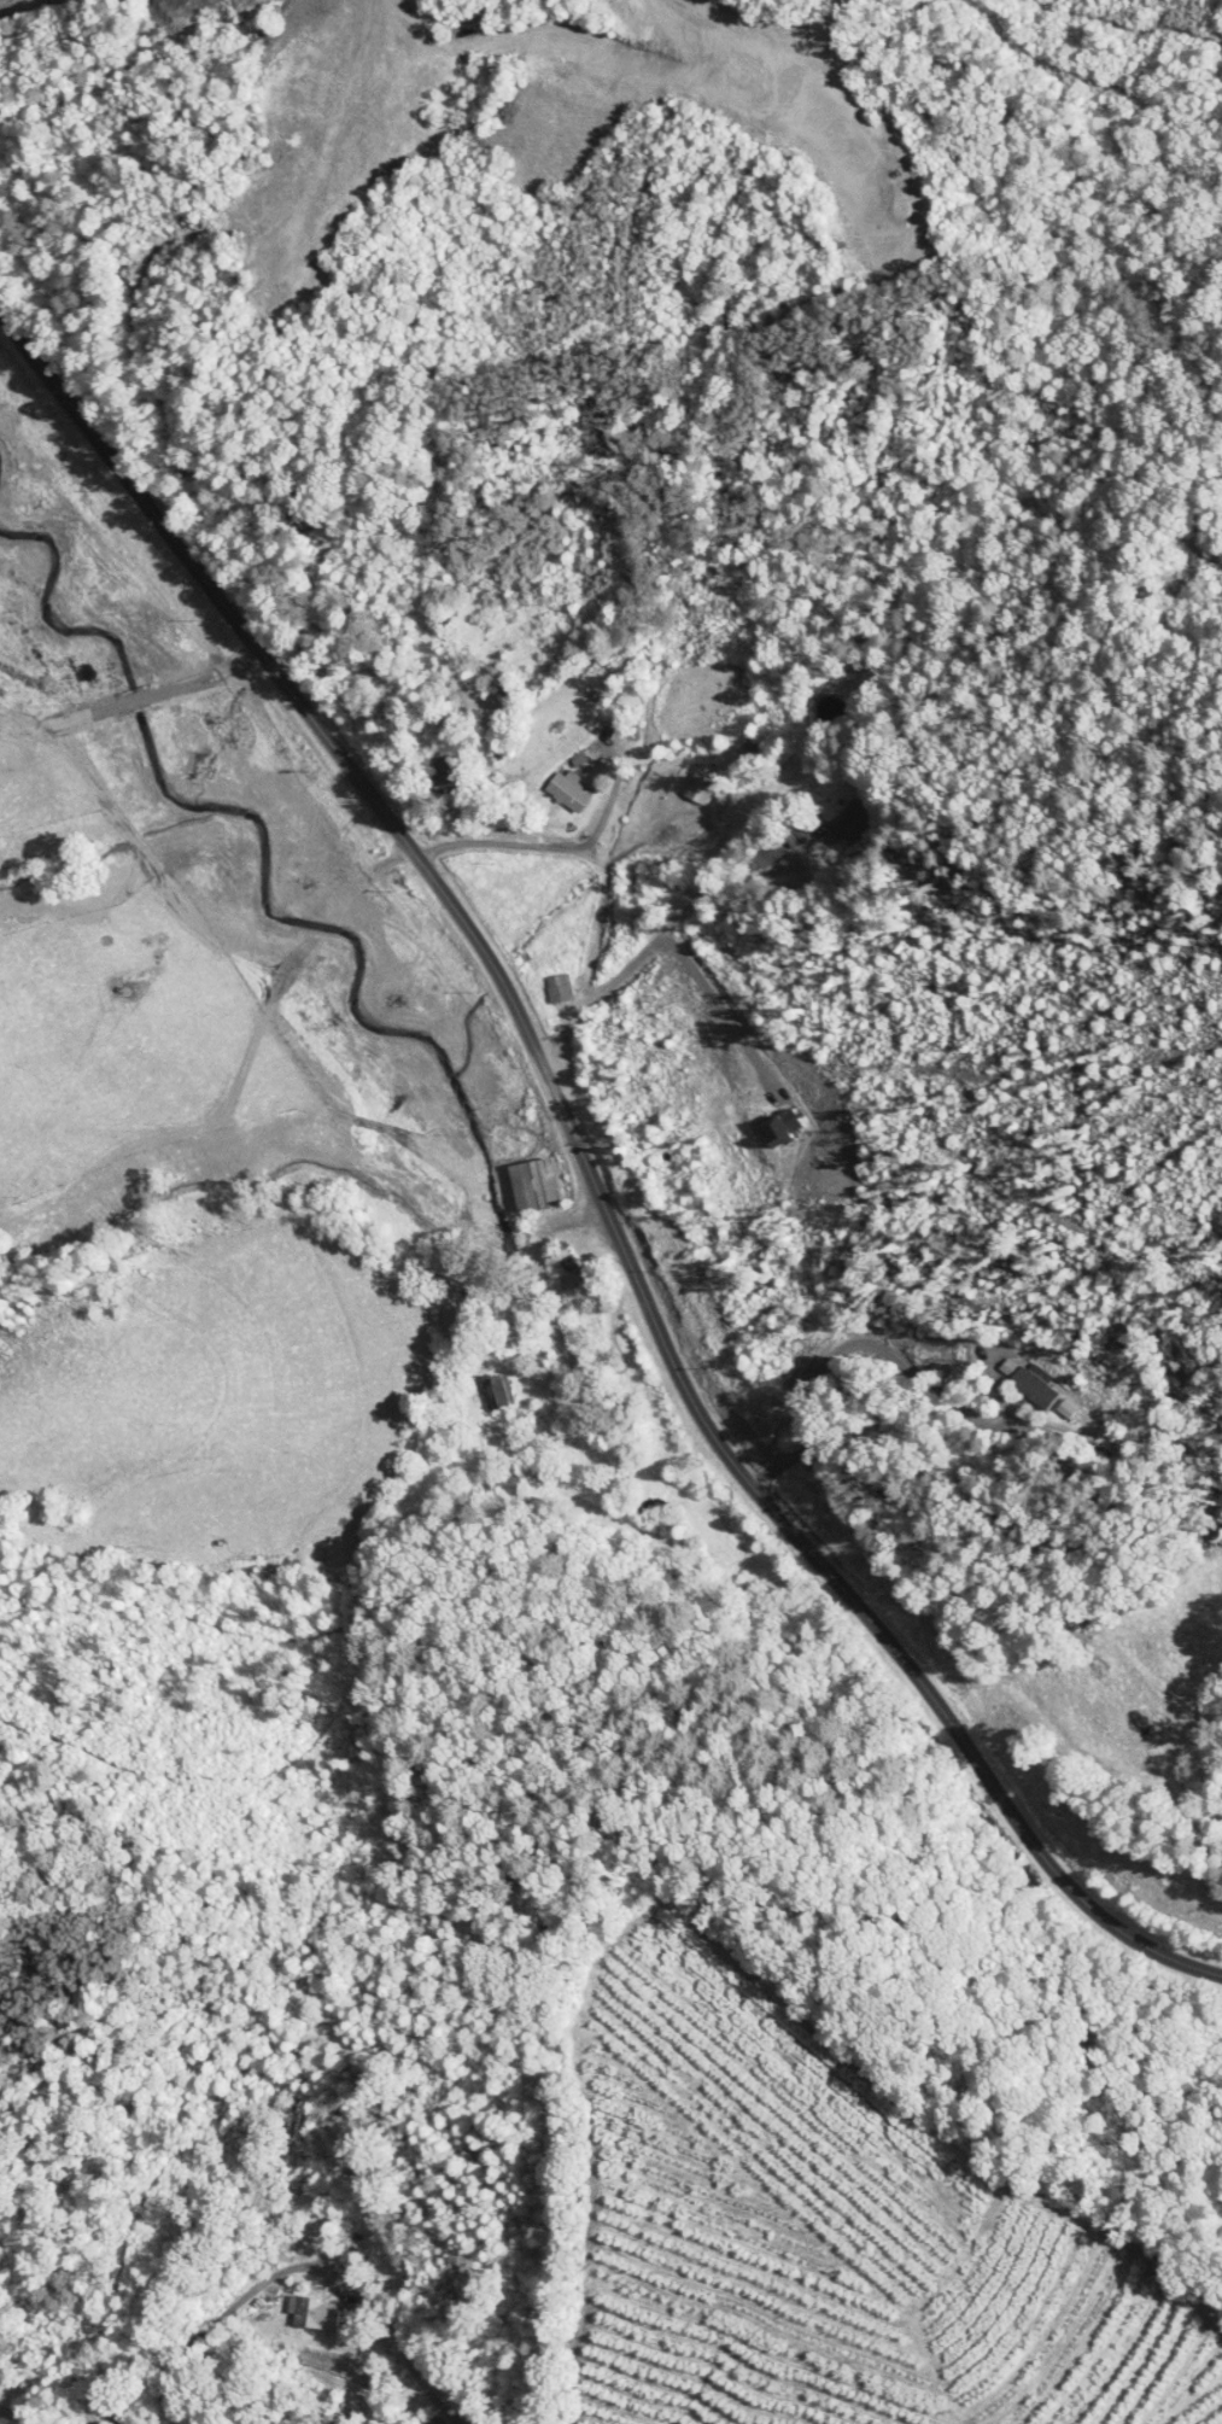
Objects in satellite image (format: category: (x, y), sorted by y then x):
building: (696, 789)
building: (566, 790)
building: (799, 828)
road: (551, 847)
building: (761, 858)
road: (656, 940)
building: (555, 988)
road: (720, 1010)
road: (586, 1174)
building: (531, 1184)
building: (561, 1258)
building: (1024, 1380)
building: (493, 1391)
road: (297, 2259)
building: (310, 2312)
building: (429, 2419)

